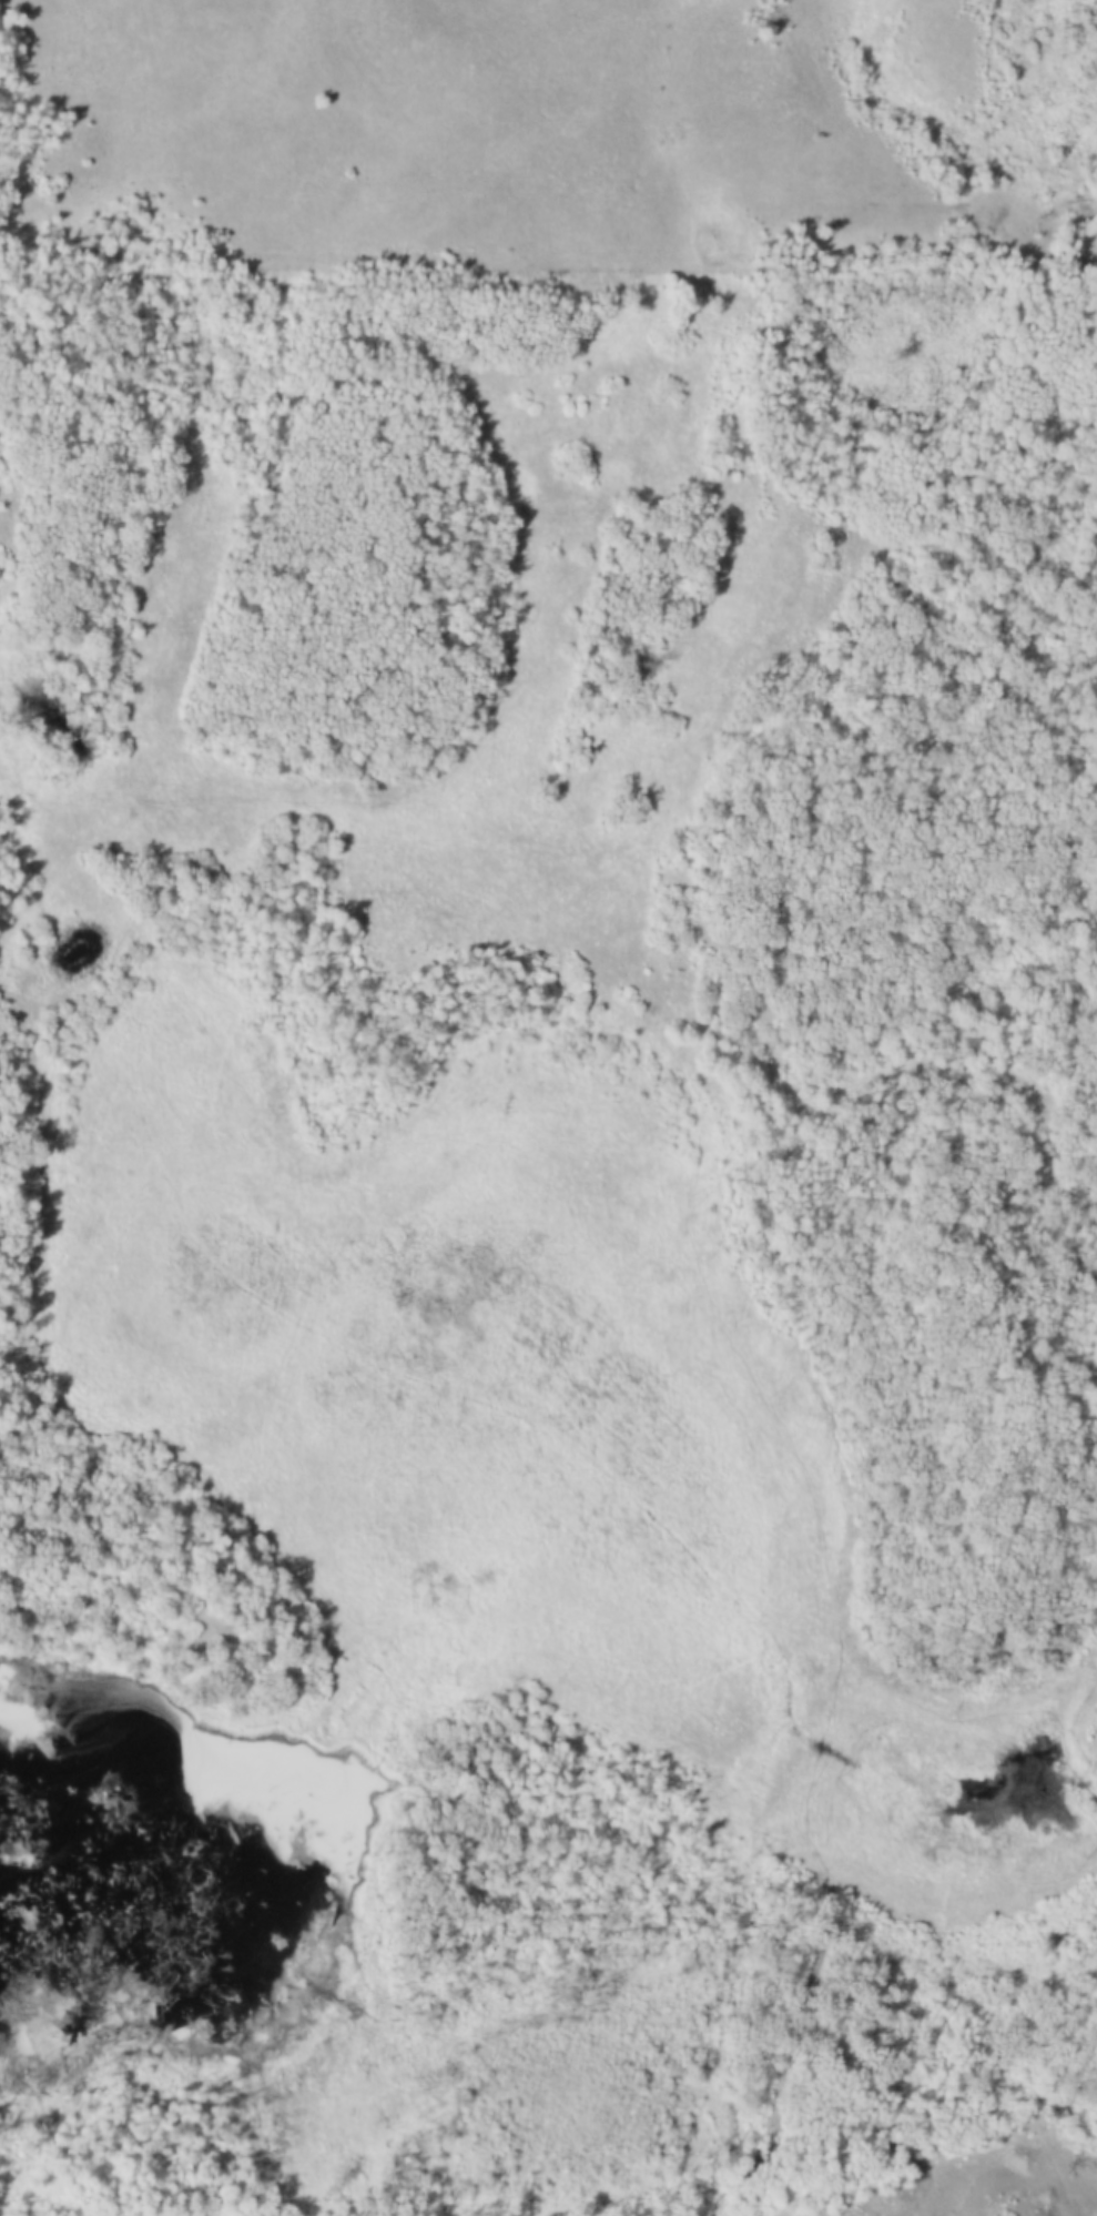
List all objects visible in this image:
quarry: (972, 2179)

